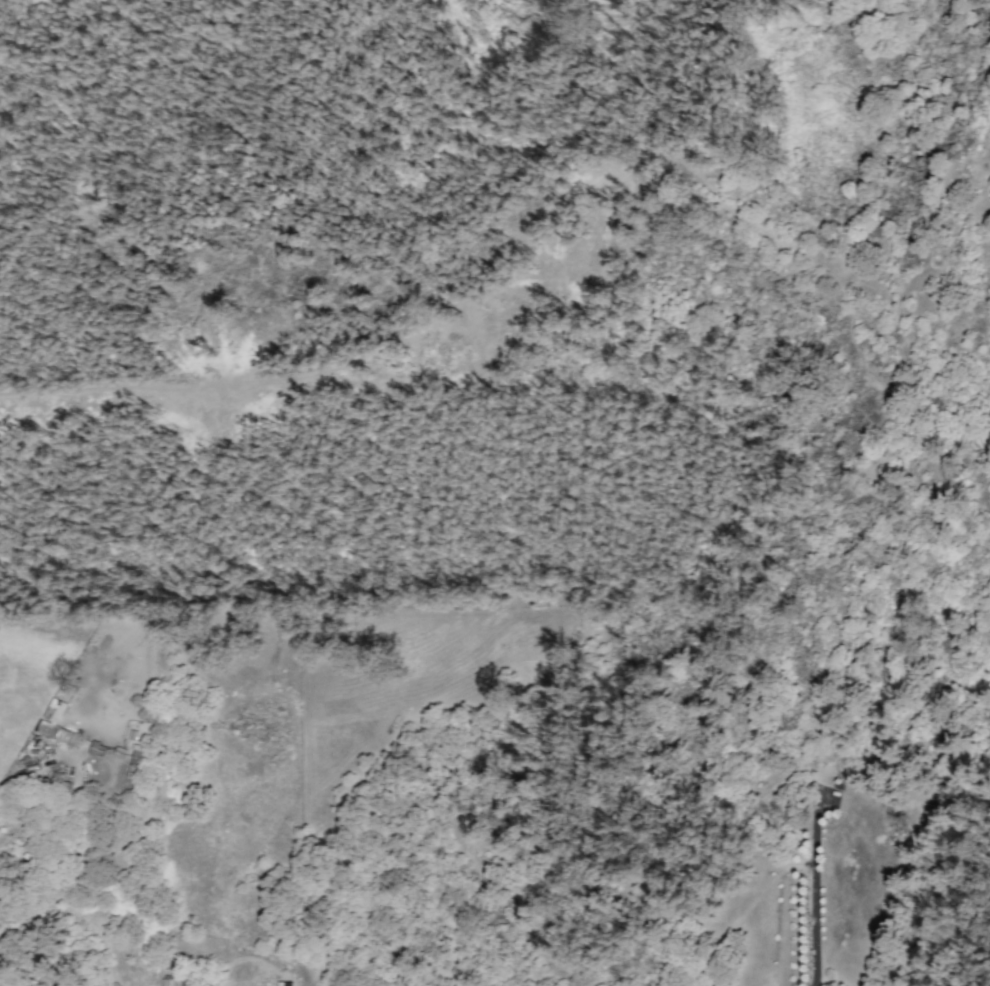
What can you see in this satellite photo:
building: (55, 710)
building: (58, 733)
road: (813, 893)
building: (168, 982)
building: (284, 983)

